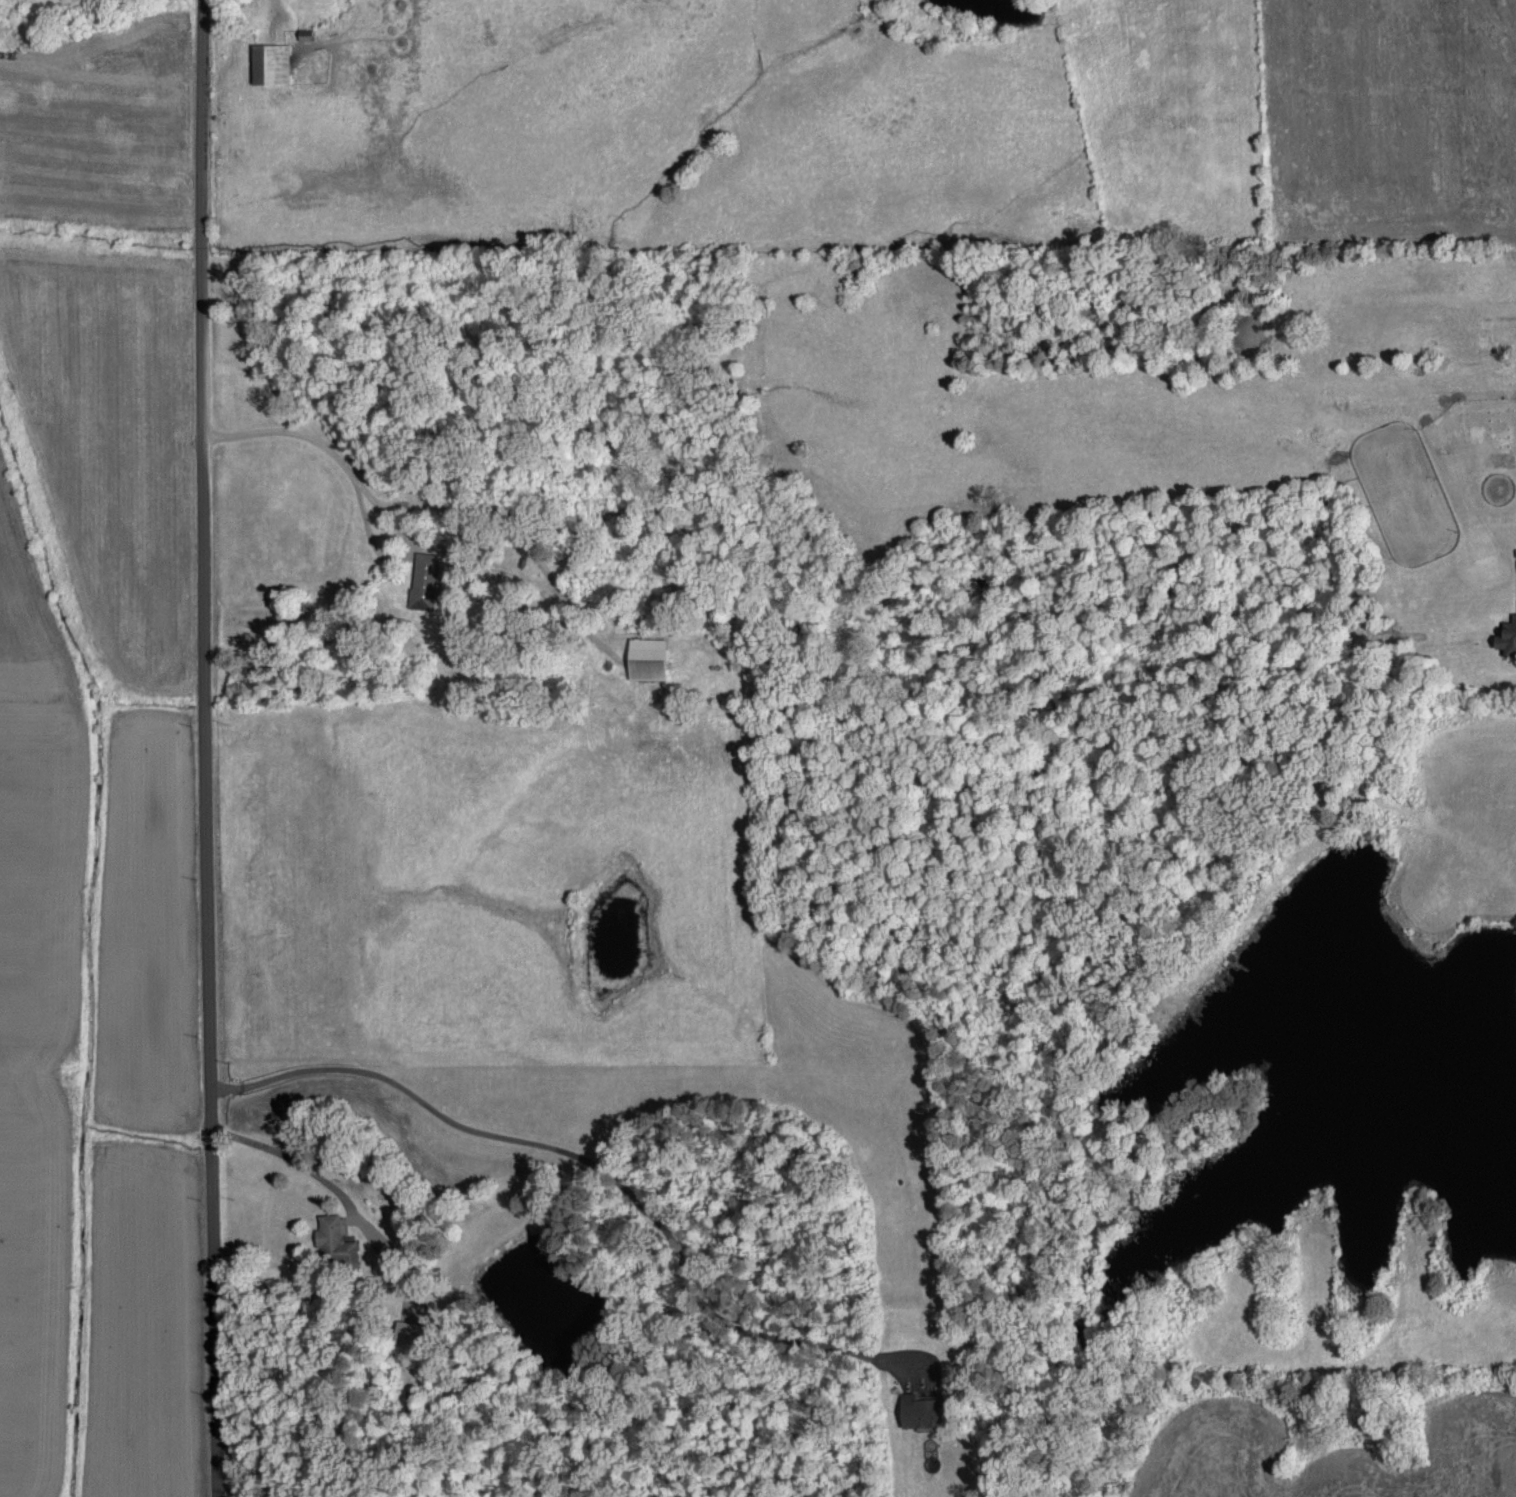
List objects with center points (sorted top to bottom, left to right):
building: (270, 61)
building: (423, 578)
building: (1507, 635)
building: (646, 656)
road: (200, 748)
building: (333, 1236)
building: (406, 1329)
building: (920, 1407)

